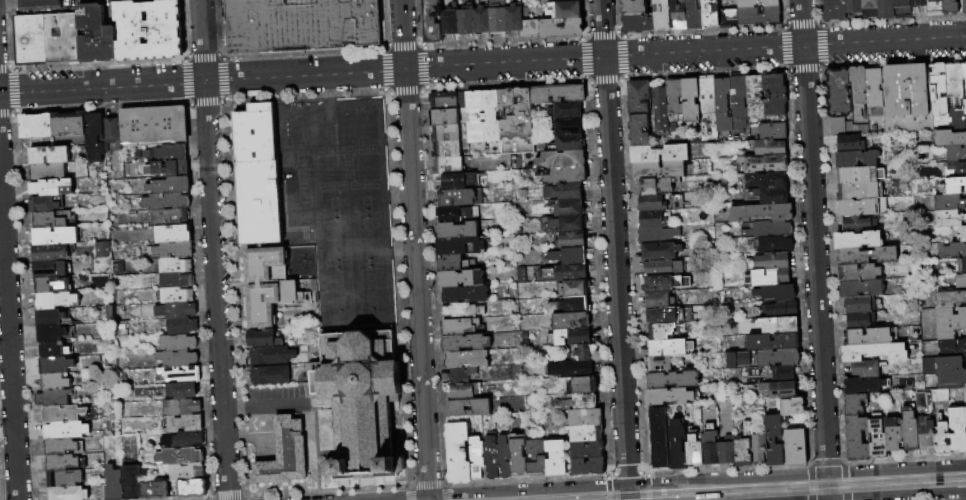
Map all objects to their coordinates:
building: (546, 0)
building: (560, 0)
building: (38, 3)
building: (756, 3)
building: (918, 3)
building: (853, 6)
building: (962, 6)
building: (633, 7)
building: (934, 7)
building: (950, 7)
building: (870, 8)
building: (565, 9)
building: (886, 9)
building: (902, 9)
building: (834, 10)
building: (709, 14)
building: (661, 15)
building: (677, 15)
building: (693, 15)
building: (497, 17)
building: (758, 17)
building: (514, 18)
building: (727, 19)
building: (481, 20)
building: (432, 21)
building: (449, 21)
building: (465, 21)
building: (636, 24)
building: (299, 25)
building: (553, 27)
building: (148, 30)
building: (95, 35)
building: (60, 39)
building: (28, 41)
road: (482, 64)
road: (3, 66)
road: (10, 68)
building: (964, 85)
building: (873, 88)
building: (857, 90)
road: (14, 91)
building: (837, 93)
building: (556, 94)
building: (774, 95)
building: (755, 96)
building: (937, 96)
building: (638, 97)
building: (674, 97)
building: (954, 97)
building: (906, 99)
building: (443, 100)
building: (461, 100)
building: (690, 100)
building: (739, 102)
building: (722, 104)
building: (660, 109)
building: (707, 109)
building: (564, 110)
road: (12, 113)
road: (5, 115)
building: (474, 116)
building: (490, 116)
building: (443, 117)
building: (516, 121)
building: (67, 124)
building: (152, 124)
park: (365, 125)
building: (567, 126)
building: (35, 127)
park: (345, 127)
park: (297, 128)
park: (324, 128)
building: (844, 128)
building: (638, 130)
building: (772, 131)
building: (111, 133)
building: (444, 133)
building: (93, 137)
building: (949, 139)
building: (569, 142)
building: (849, 144)
building: (769, 148)
park: (371, 149)
building: (445, 149)
park: (340, 150)
park: (350, 150)
park: (361, 150)
building: (169, 152)
park: (321, 152)
park: (331, 152)
building: (658, 152)
building: (952, 154)
building: (48, 155)
park: (301, 155)
building: (561, 159)
building: (855, 159)
park: (347, 161)
building: (764, 163)
park: (302, 165)
building: (447, 165)
park: (365, 167)
building: (170, 168)
park: (330, 169)
building: (658, 170)
building: (955, 170)
building: (45, 171)
park: (302, 174)
park: (348, 174)
building: (564, 175)
building: (859, 176)
building: (258, 177)
building: (456, 180)
building: (765, 180)
park: (302, 183)
park: (373, 184)
building: (168, 185)
park: (352, 185)
park: (363, 185)
park: (332, 186)
park: (342, 186)
building: (654, 186)
building: (48, 187)
park: (323, 187)
building: (952, 187)
building: (564, 191)
building: (852, 192)
park: (303, 193)
building: (771, 195)
building: (965, 196)
building: (457, 197)
building: (164, 201)
park: (365, 201)
park: (303, 202)
building: (44, 203)
park: (333, 203)
building: (652, 203)
building: (948, 203)
building: (569, 208)
building: (856, 208)
track: (315, 210)
park: (304, 212)
building: (761, 212)
building: (452, 213)
building: (168, 216)
building: (50, 219)
building: (652, 219)
building: (948, 220)
park: (304, 221)
building: (566, 222)
building: (855, 224)
building: (769, 229)
park: (305, 230)
building: (456, 230)
building: (172, 233)
building: (655, 234)
building: (962, 234)
road: (813, 235)
building: (55, 236)
park: (367, 238)
building: (571, 239)
park: (305, 240)
park: (335, 240)
road: (613, 241)
building: (856, 241)
building: (774, 244)
building: (458, 245)
road: (413, 247)
building: (100, 249)
building: (170, 249)
road: (214, 249)
building: (660, 251)
building: (954, 251)
building: (48, 252)
building: (569, 255)
building: (866, 256)
building: (771, 261)
building: (449, 263)
building: (174, 265)
building: (47, 267)
building: (662, 267)
building: (961, 267)
building: (566, 272)
building: (857, 273)
building: (768, 277)
building: (460, 278)
building: (171, 280)
building: (960, 282)
building: (658, 283)
building: (51, 284)
building: (263, 286)
park: (369, 287)
building: (573, 288)
building: (860, 289)
park: (338, 291)
building: (291, 293)
building: (776, 293)
building: (463, 294)
building: (175, 295)
building: (54, 300)
building: (659, 300)
building: (949, 300)
building: (576, 304)
building: (859, 305)
building: (551, 308)
building: (780, 309)
building: (174, 310)
building: (461, 311)
building: (666, 315)
building: (48, 317)
building: (570, 320)
building: (859, 321)
building: (949, 324)
building: (778, 325)
building: (180, 327)
building: (457, 327)
building: (660, 331)
building: (50, 333)
building: (571, 336)
building: (869, 337)
building: (263, 339)
building: (464, 342)
building: (772, 342)
road: (8, 343)
building: (176, 343)
building: (669, 348)
building: (952, 349)
building: (51, 350)
building: (580, 351)
building: (873, 352)
building: (272, 356)
building: (777, 357)
building: (176, 358)
building: (466, 358)
building: (736, 359)
building: (662, 363)
building: (55, 365)
building: (571, 369)
building: (864, 369)
building: (945, 372)
building: (179, 374)
building: (782, 374)
building: (461, 375)
building: (271, 376)
building: (672, 379)
building: (53, 382)
building: (584, 384)
building: (862, 386)
building: (778, 389)
building: (174, 391)
building: (461, 392)
building: (667, 396)
building: (52, 397)
building: (929, 400)
road: (281, 401)
building: (579, 401)
building: (360, 403)
road: (240, 404)
building: (853, 404)
building: (792, 406)
building: (180, 407)
building: (467, 408)
building: (61, 413)
building: (965, 415)
building: (584, 417)
building: (182, 423)
building: (957, 429)
building: (64, 430)
building: (908, 431)
building: (585, 433)
building: (924, 433)
building: (892, 435)
building: (658, 437)
building: (856, 438)
building: (182, 439)
building: (965, 439)
building: (774, 440)
building: (941, 441)
building: (677, 445)
building: (59, 446)
building: (709, 446)
building: (758, 447)
building: (795, 447)
building: (877, 447)
building: (743, 448)
building: (586, 449)
building: (693, 451)
building: (457, 452)
building: (726, 453)
building: (285, 455)
building: (177, 456)
building: (536, 457)
building: (555, 457)
building: (490, 458)
building: (502, 458)
building: (517, 458)
road: (905, 458)
building: (477, 459)
building: (63, 462)
road: (826, 462)
building: (587, 466)
road: (896, 467)
road: (727, 468)
building: (185, 472)
road: (626, 473)
road: (726, 476)
building: (62, 478)
road: (527, 479)
road: (646, 479)
building: (130, 481)
road: (809, 481)
road: (846, 481)
building: (112, 483)
road: (427, 485)
road: (827, 485)
road: (608, 487)
railway: (638, 487)
railway: (743, 487)
building: (191, 488)
road: (527, 488)
road: (777, 488)
building: (153, 490)
road: (326, 491)
road: (627, 491)
railway: (806, 491)
road: (408, 492)
road: (446, 492)
building: (67, 493)
road: (647, 495)
road: (227, 497)
road: (372, 497)
road: (427, 497)
road: (915, 497)
road: (245, 498)
road: (190, 499)
road: (210, 499)

